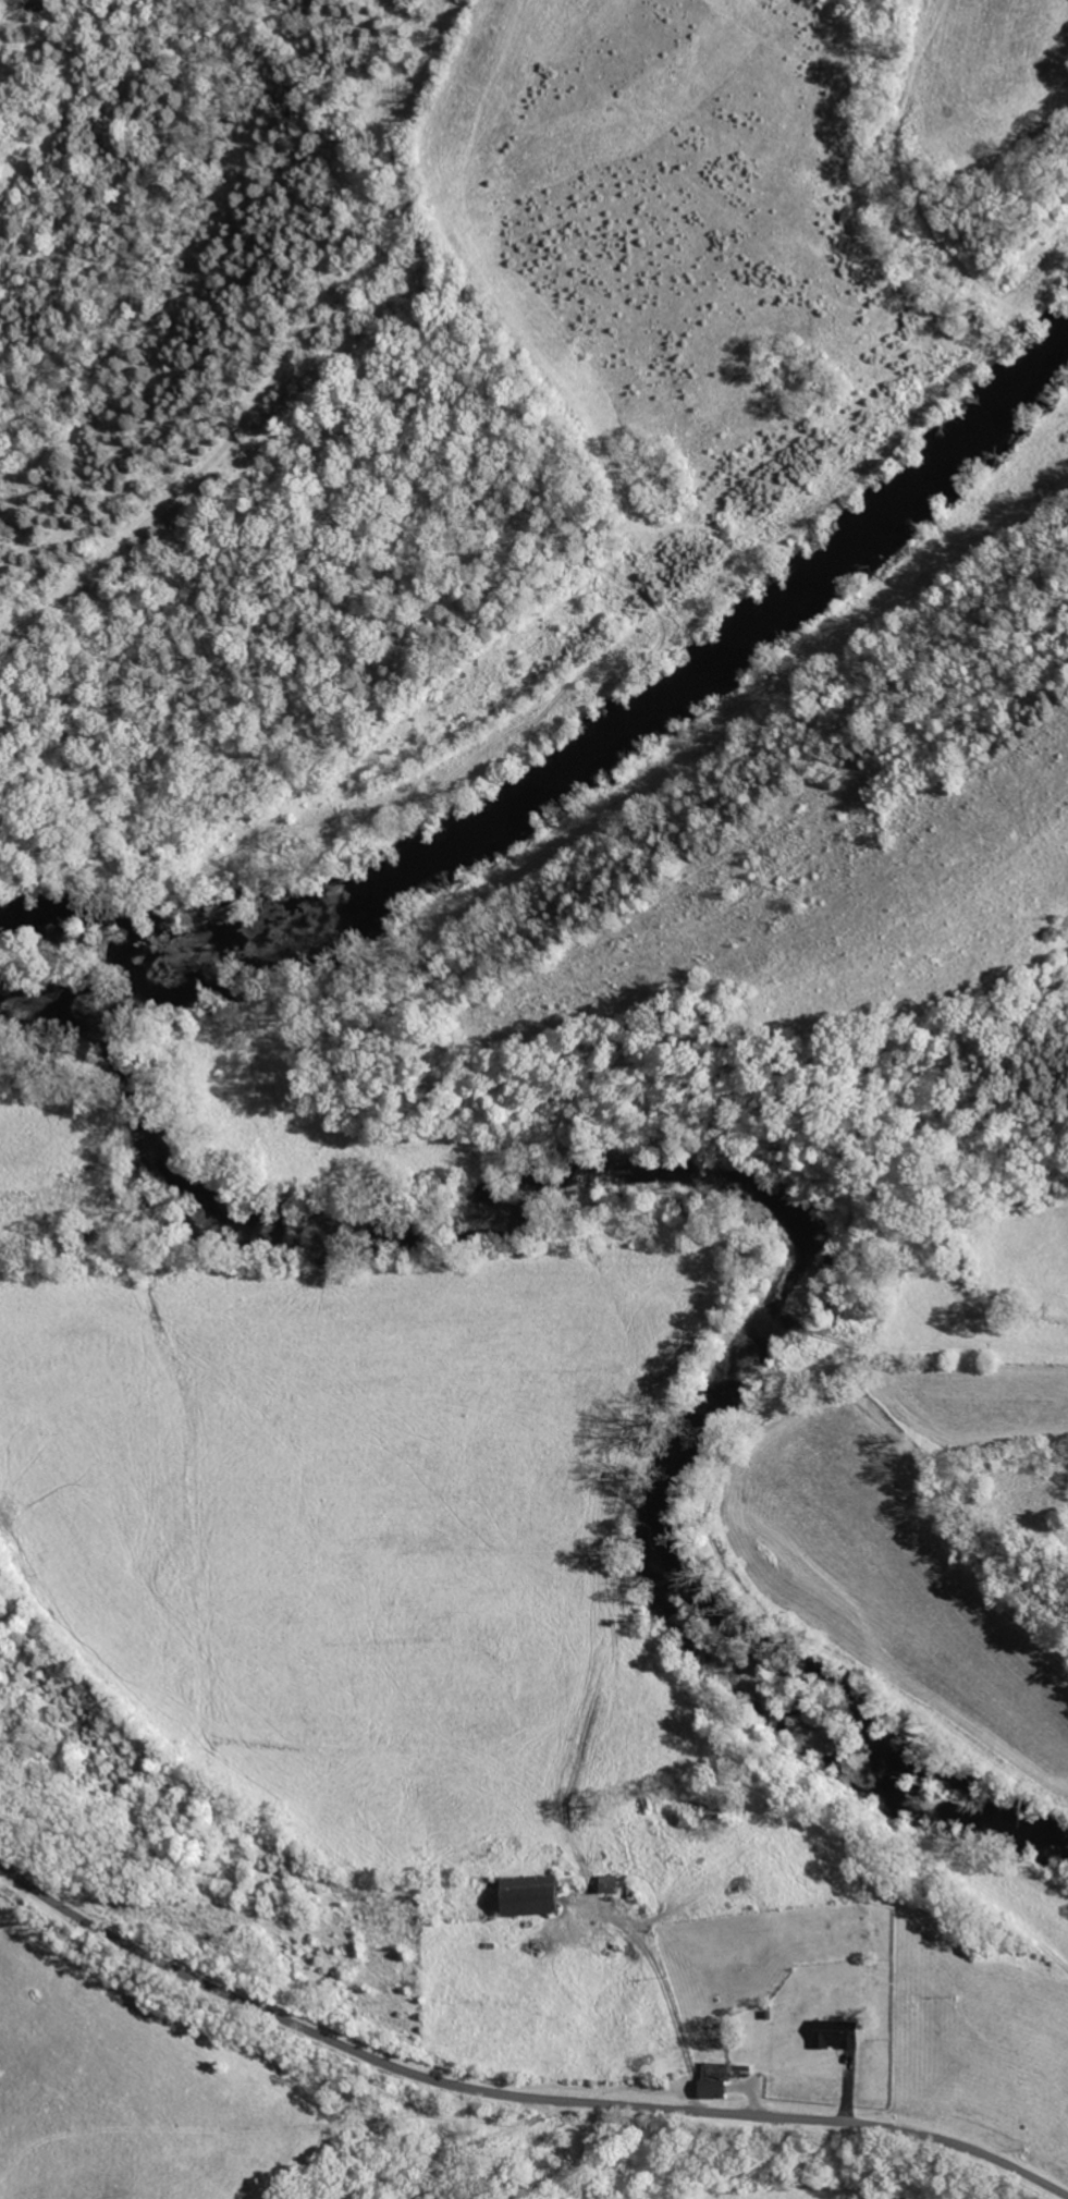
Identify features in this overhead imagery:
road: (40, 22)
river: (581, 754)
building: (605, 1884)
building: (526, 1895)
road: (659, 1988)
building: (830, 2033)
building: (708, 2089)
road: (513, 2094)

